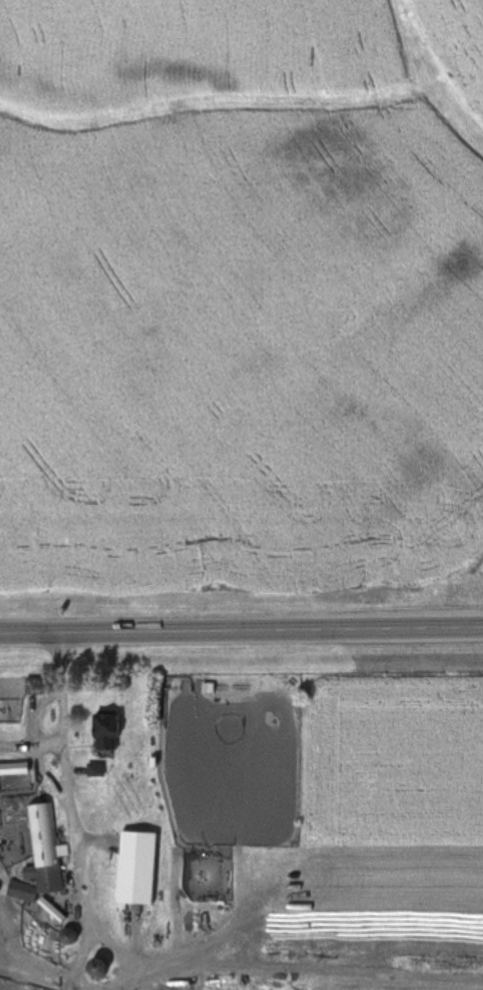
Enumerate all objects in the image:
road: (241, 630)
building: (105, 731)
building: (14, 769)
building: (96, 769)
building: (43, 856)
building: (137, 867)
building: (68, 936)
building: (96, 966)
building: (203, 989)

